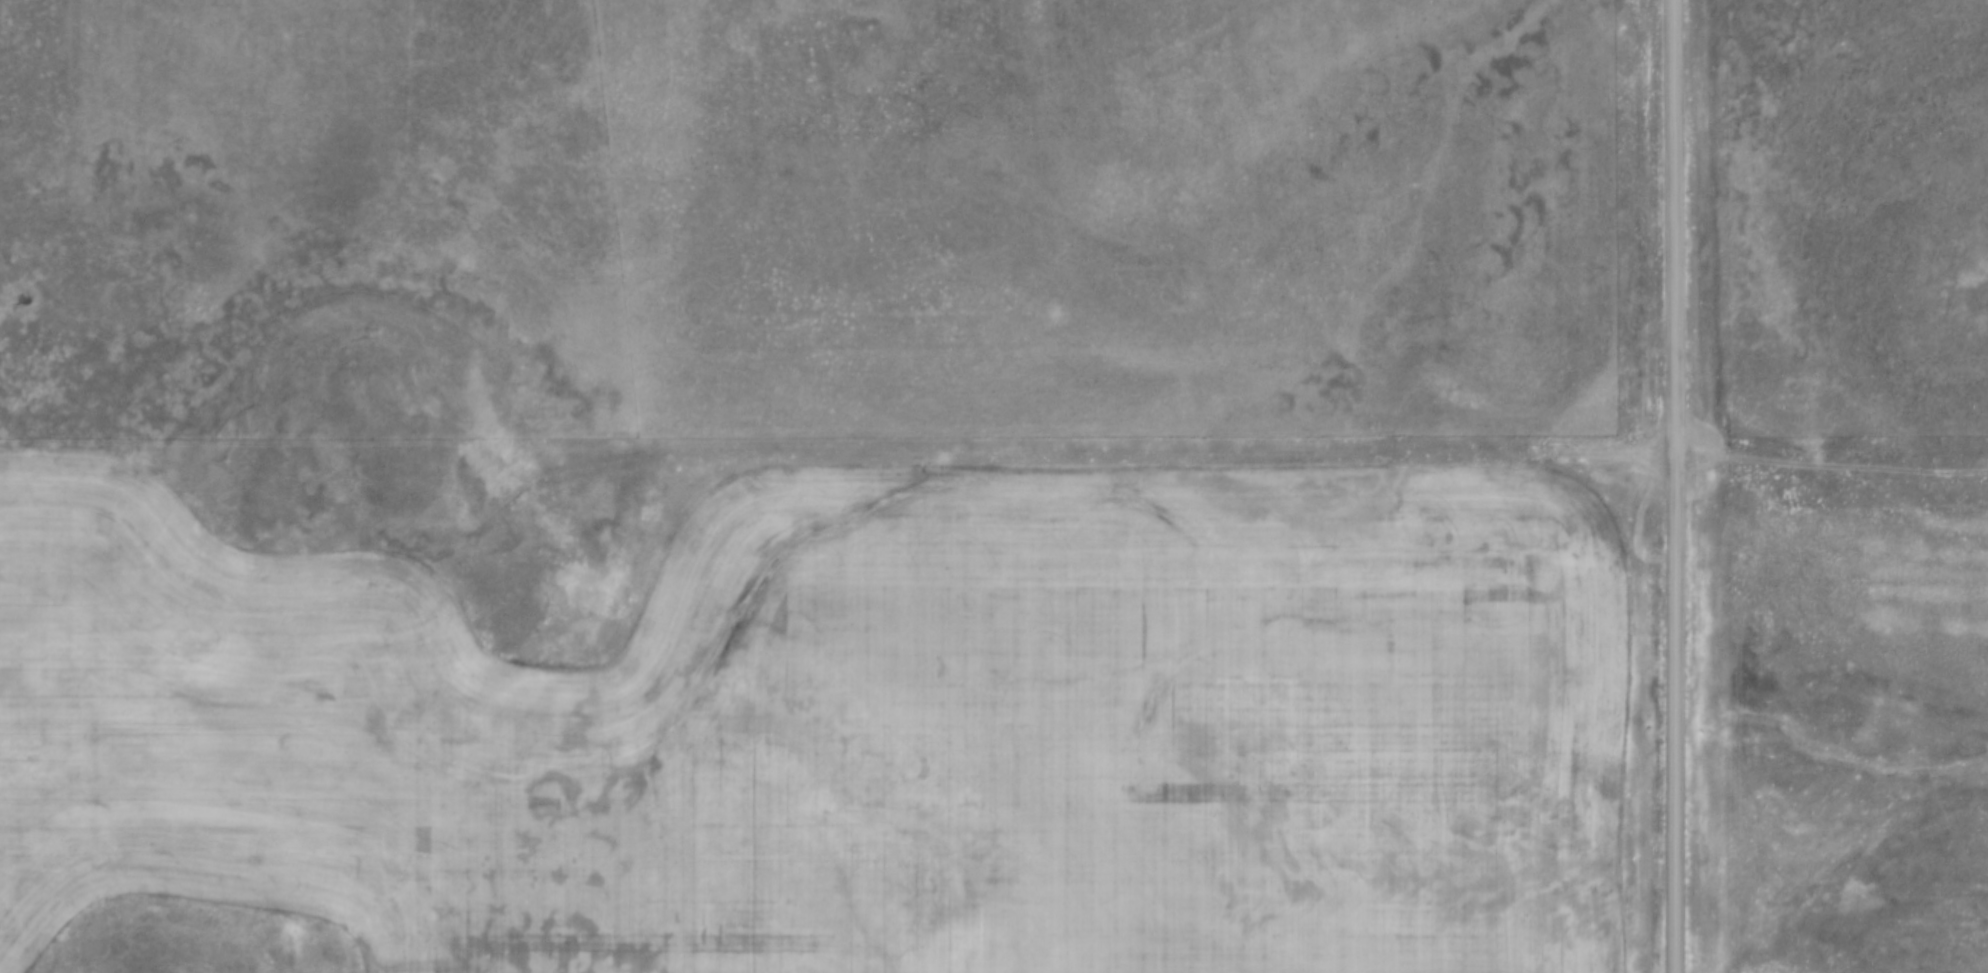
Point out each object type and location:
road: (1673, 486)

